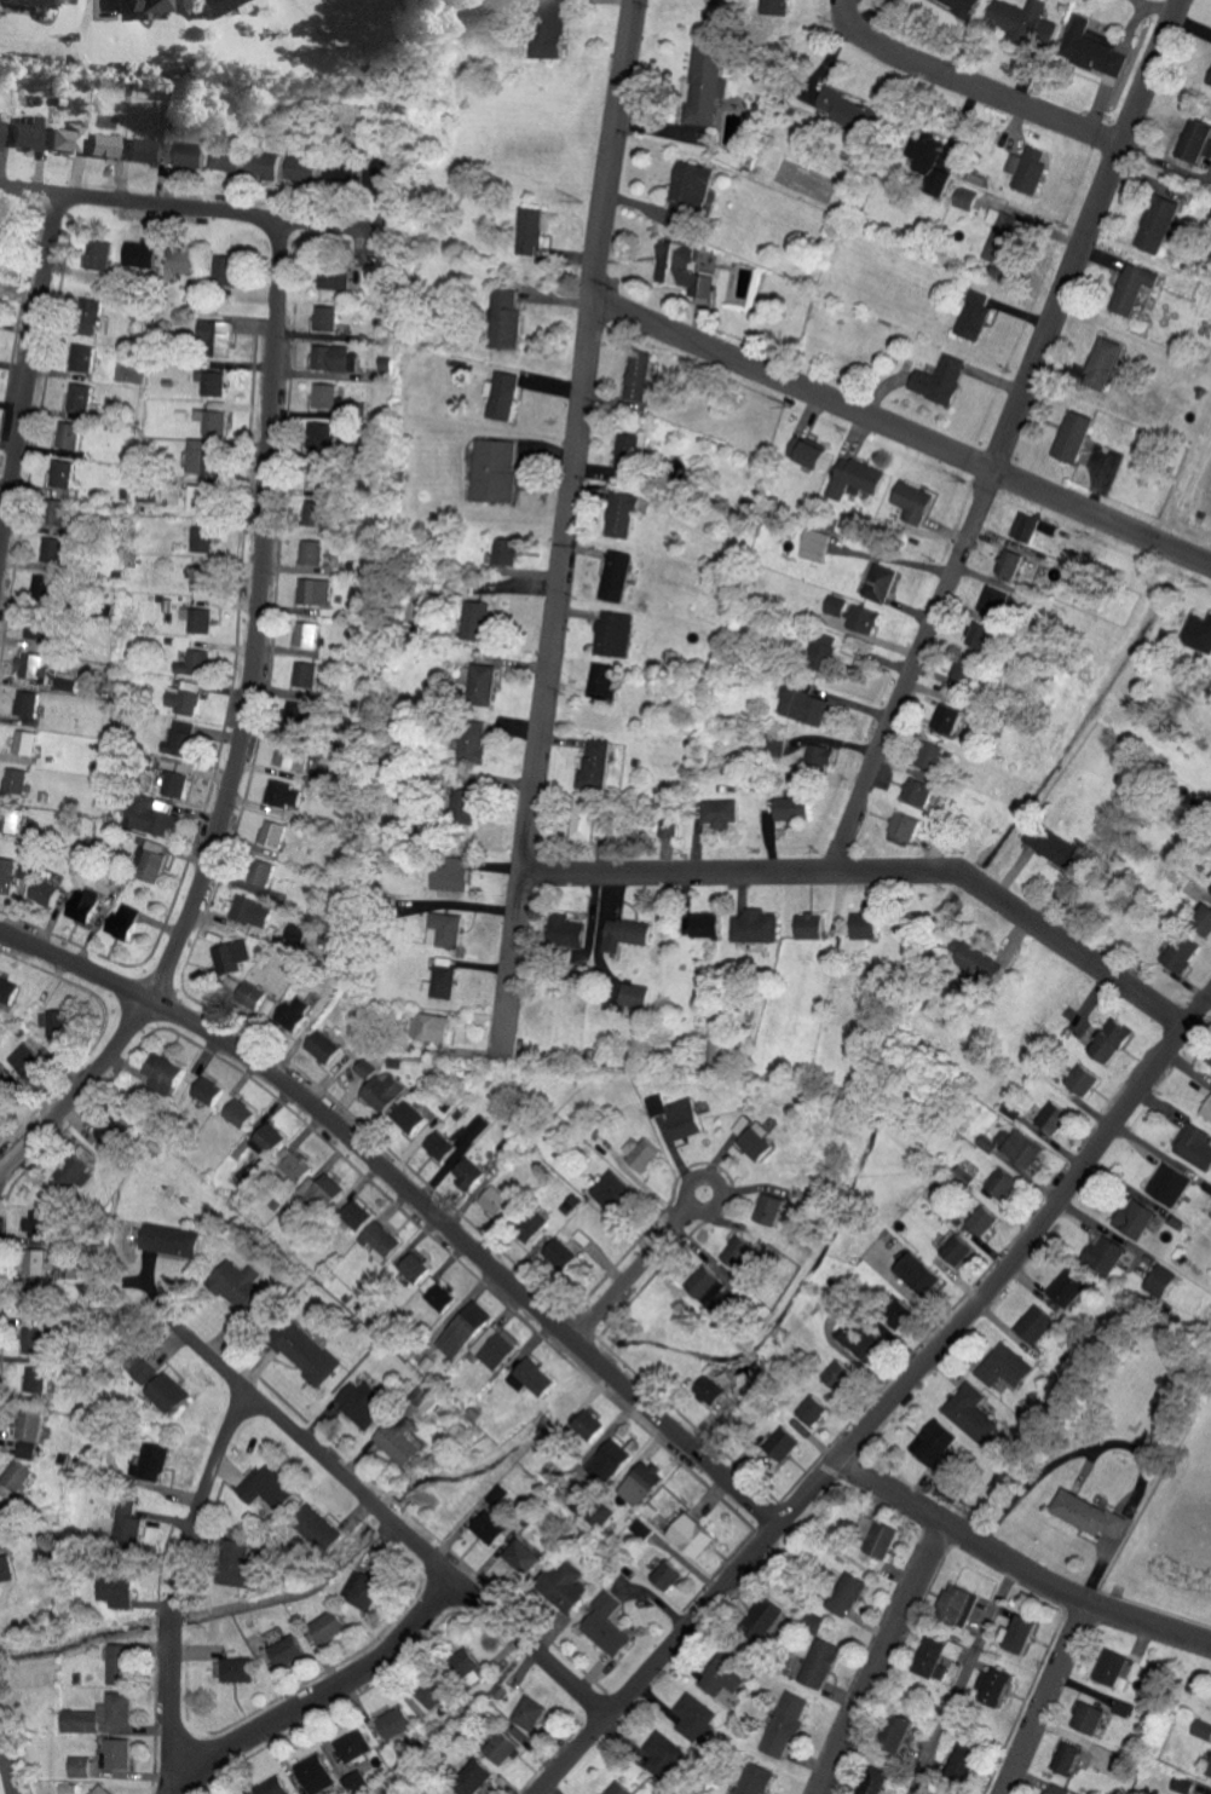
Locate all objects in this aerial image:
building: (33, 2)
building: (963, 5)
building: (142, 6)
building: (218, 6)
building: (775, 6)
building: (1022, 21)
building: (548, 28)
building: (1094, 48)
building: (1210, 81)
building: (705, 83)
road: (970, 88)
building: (854, 113)
building: (1, 129)
building: (30, 133)
building: (69, 139)
building: (1198, 139)
building: (106, 144)
building: (145, 149)
building: (186, 154)
building: (223, 160)
building: (932, 161)
building: (265, 165)
building: (299, 168)
building: (1030, 168)
building: (690, 196)
building: (973, 200)
road: (183, 209)
building: (1161, 223)
building: (531, 231)
building: (1008, 237)
building: (99, 254)
building: (142, 254)
building: (180, 261)
building: (686, 267)
building: (226, 270)
building: (338, 277)
building: (1134, 287)
building: (975, 315)
building: (92, 316)
building: (327, 318)
building: (504, 318)
building: (218, 336)
building: (82, 358)
building: (335, 358)
building: (1103, 363)
road: (27, 371)
building: (640, 375)
building: (941, 380)
building: (214, 383)
building: (500, 394)
building: (325, 396)
building: (79, 400)
building: (215, 422)
road: (1008, 433)
building: (69, 435)
building: (319, 435)
road: (901, 435)
building: (1074, 437)
building: (808, 451)
building: (203, 456)
building: (629, 456)
building: (492, 471)
building: (64, 472)
building: (322, 475)
building: (854, 478)
building: (201, 500)
building: (913, 502)
building: (59, 513)
building: (319, 514)
building: (622, 514)
building: (1027, 527)
road: (561, 530)
building: (202, 540)
building: (815, 544)
building: (312, 552)
building: (506, 552)
building: (54, 554)
building: (1011, 560)
building: (615, 576)
building: (202, 578)
building: (881, 583)
building: (45, 590)
building: (313, 592)
building: (996, 602)
building: (855, 615)
building: (201, 621)
building: (477, 621)
building: (40, 631)
building: (1199, 633)
building: (305, 634)
building: (613, 634)
building: (981, 636)
building: (824, 651)
building: (194, 663)
building: (33, 665)
building: (967, 669)
building: (304, 674)
building: (602, 681)
building: (67, 683)
building: (481, 683)
building: (184, 697)
building: (28, 703)
building: (805, 706)
building: (295, 715)
building: (948, 719)
building: (183, 722)
road: (238, 732)
building: (25, 743)
building: (178, 744)
building: (473, 744)
building: (284, 754)
building: (820, 756)
building: (932, 756)
building: (595, 766)
building: (15, 781)
building: (171, 783)
building: (918, 791)
building: (282, 795)
building: (465, 807)
building: (792, 809)
building: (719, 812)
building: (151, 815)
building: (586, 818)
building: (8, 821)
building: (667, 823)
building: (905, 827)
building: (270, 833)
building: (1055, 848)
building: (146, 860)
road: (880, 870)
building: (258, 872)
building: (11, 873)
building: (451, 875)
building: (42, 893)
building: (81, 904)
building: (248, 911)
building: (1203, 921)
building: (120, 922)
building: (705, 925)
building: (865, 925)
building: (755, 927)
building: (811, 927)
building: (445, 930)
building: (567, 931)
building: (625, 934)
building: (1182, 953)
building: (227, 957)
building: (980, 962)
building: (444, 977)
building: (7, 990)
building: (249, 996)
building: (635, 997)
building: (293, 1013)
building: (56, 1022)
building: (431, 1028)
building: (1111, 1042)
building: (322, 1046)
building: (27, 1061)
building: (161, 1072)
building: (1082, 1080)
building: (376, 1085)
building: (1, 1088)
building: (207, 1091)
building: (654, 1106)
building: (1010, 1112)
building: (1207, 1112)
building: (238, 1113)
building: (408, 1117)
building: (684, 1119)
building: (1054, 1119)
building: (742, 1125)
building: (469, 1132)
building: (266, 1141)
building: (756, 1142)
building: (986, 1144)
building: (439, 1146)
building: (1194, 1147)
building: (1020, 1149)
road: (669, 1152)
building: (641, 1153)
building: (293, 1164)
building: (468, 1173)
building: (74, 1175)
building: (1166, 1182)
building: (1003, 1184)
building: (322, 1189)
building: (615, 1192)
road: (414, 1196)
building: (496, 1201)
building: (769, 1210)
building: (357, 1216)
building: (1134, 1219)
building: (982, 1221)
building: (38, 1223)
road: (669, 1228)
building: (169, 1240)
building: (380, 1241)
building: (955, 1248)
building: (560, 1254)
building: (742, 1254)
building: (1103, 1254)
building: (39, 1265)
building: (415, 1268)
building: (918, 1274)
building: (1159, 1279)
building: (242, 1288)
building: (1065, 1290)
building: (710, 1291)
building: (438, 1292)
building: (898, 1315)
building: (1034, 1327)
building: (463, 1328)
building: (35, 1339)
building: (858, 1340)
building: (495, 1346)
building: (302, 1349)
building: (1004, 1367)
building: (840, 1374)
building: (532, 1377)
building: (36, 1379)
building: (133, 1383)
building: (157, 1383)
building: (710, 1390)
building: (422, 1398)
building: (362, 1403)
road: (888, 1406)
building: (814, 1409)
building: (973, 1415)
building: (30, 1424)
building: (588, 1424)
building: (936, 1440)
building: (399, 1441)
building: (782, 1441)
building: (27, 1449)
building: (152, 1460)
building: (609, 1460)
building: (17, 1475)
building: (641, 1483)
building: (269, 1487)
building: (951, 1488)
building: (566, 1492)
building: (1089, 1513)
building: (6, 1516)
road: (388, 1518)
building: (318, 1527)
building: (490, 1527)
park: (1172, 1529)
building: (692, 1535)
building: (883, 1539)
building: (521, 1556)
building: (236, 1564)
road: (1017, 1567)
building: (6, 1568)
building: (668, 1575)
road: (173, 1585)
building: (563, 1585)
building: (116, 1590)
building: (367, 1591)
building: (849, 1593)
building: (961, 1603)
building: (769, 1615)
building: (819, 1622)
building: (330, 1625)
building: (607, 1625)
building: (1021, 1633)
building: (288, 1651)
building: (940, 1655)
road: (881, 1659)
building: (824, 1662)
building: (120, 1663)
building: (237, 1668)
building: (466, 1668)
building: (1113, 1668)
building: (727, 1679)
road: (963, 1679)
building: (996, 1684)
building: (433, 1691)
road: (1044, 1696)
road: (328, 1697)
building: (530, 1712)
building: (99, 1713)
building: (698, 1715)
building: (1090, 1717)
building: (394, 1723)
building: (788, 1724)
building: (1203, 1729)
building: (900, 1732)
building: (353, 1744)
building: (502, 1747)
building: (116, 1753)
building: (667, 1755)
building: (1069, 1756)
building: (967, 1761)
building: (79, 1766)
road: (6, 1771)
building: (1210, 1772)
building: (315, 1773)
building: (474, 1777)
building: (759, 1779)
building: (877, 1781)
building: (1184, 1784)
building: (272, 1787)
building: (622, 1788)
building: (102, 1789)
building: (1060, 1789)

